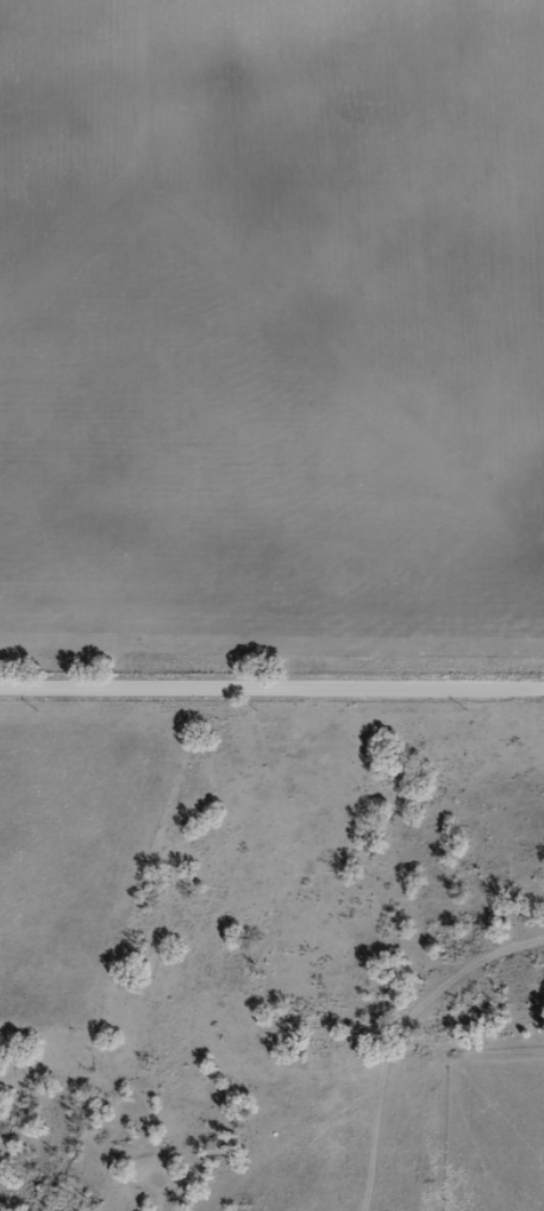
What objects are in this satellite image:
road: (271, 710)
road: (417, 1057)

